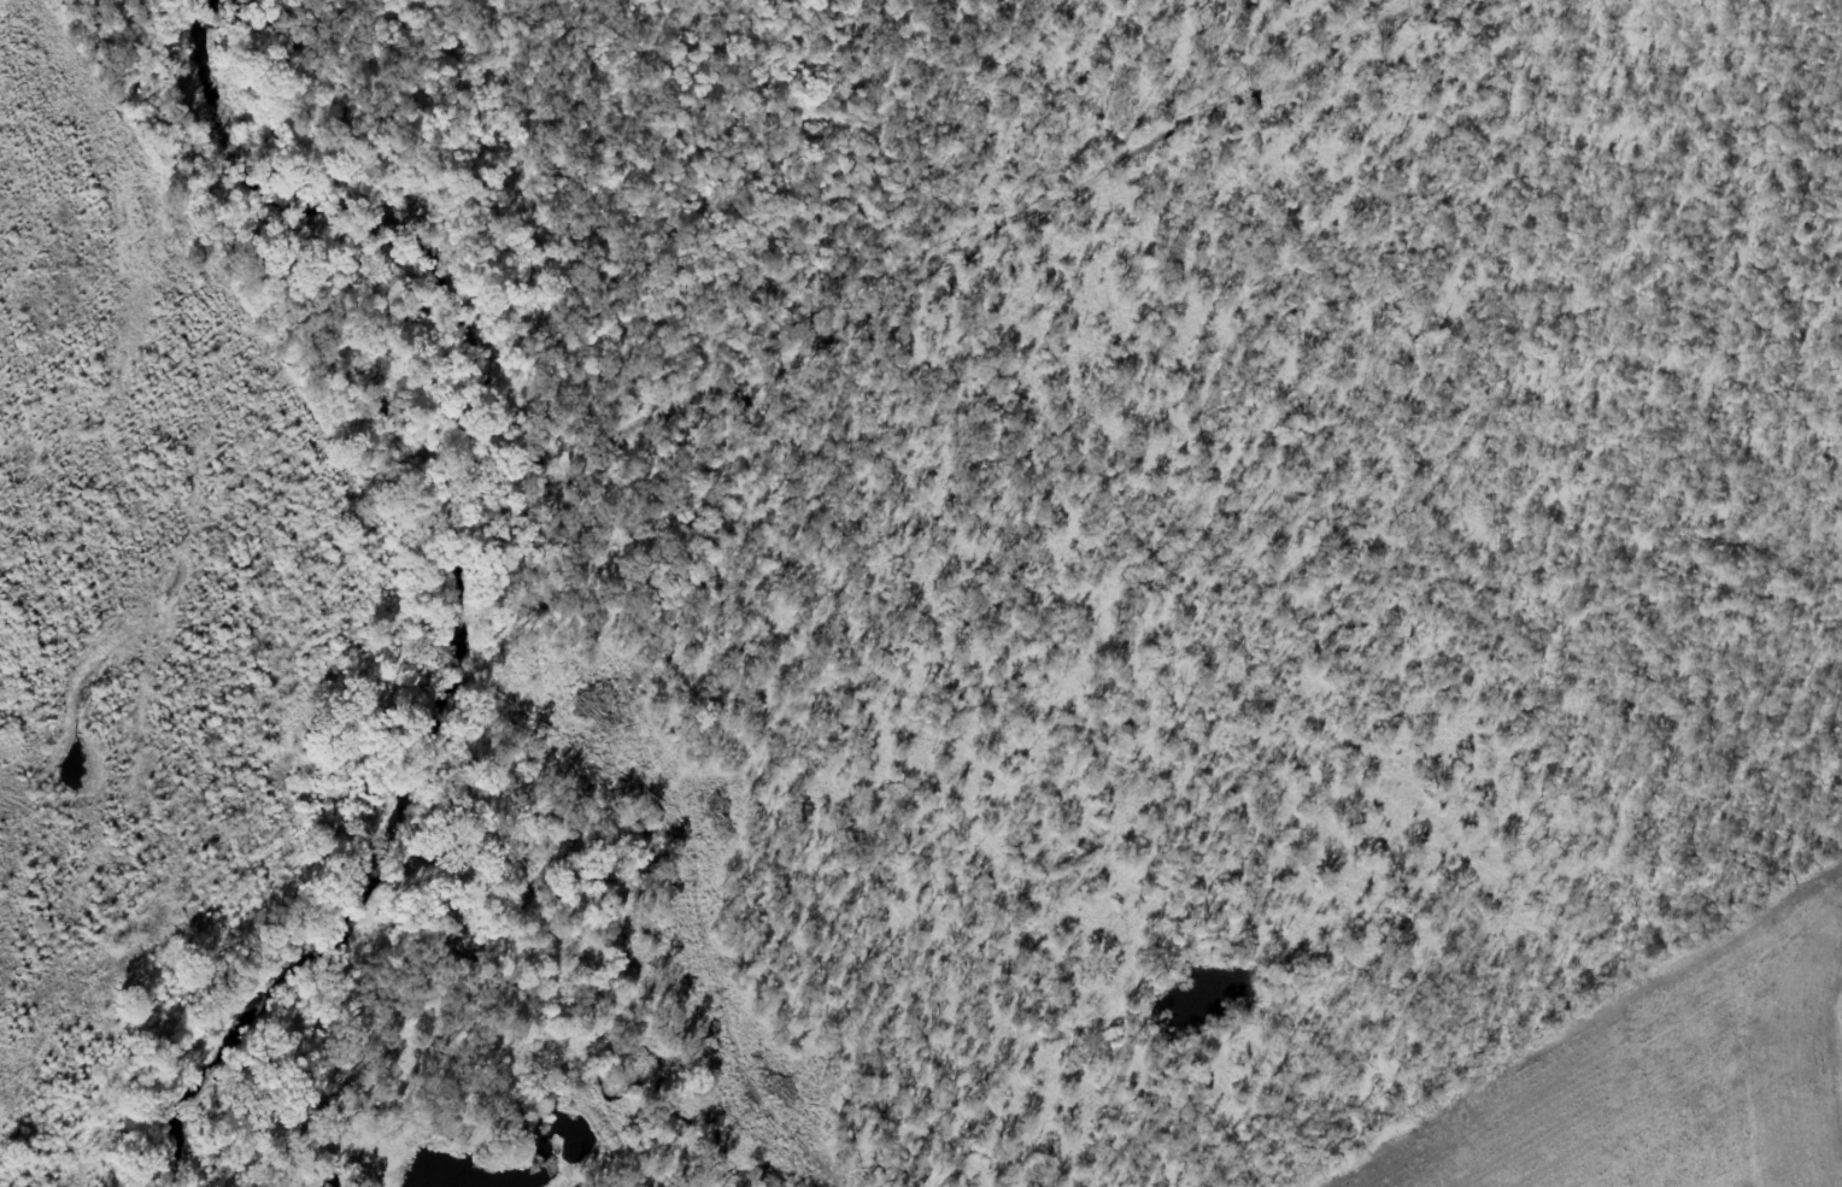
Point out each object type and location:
road: (1650, 1042)

